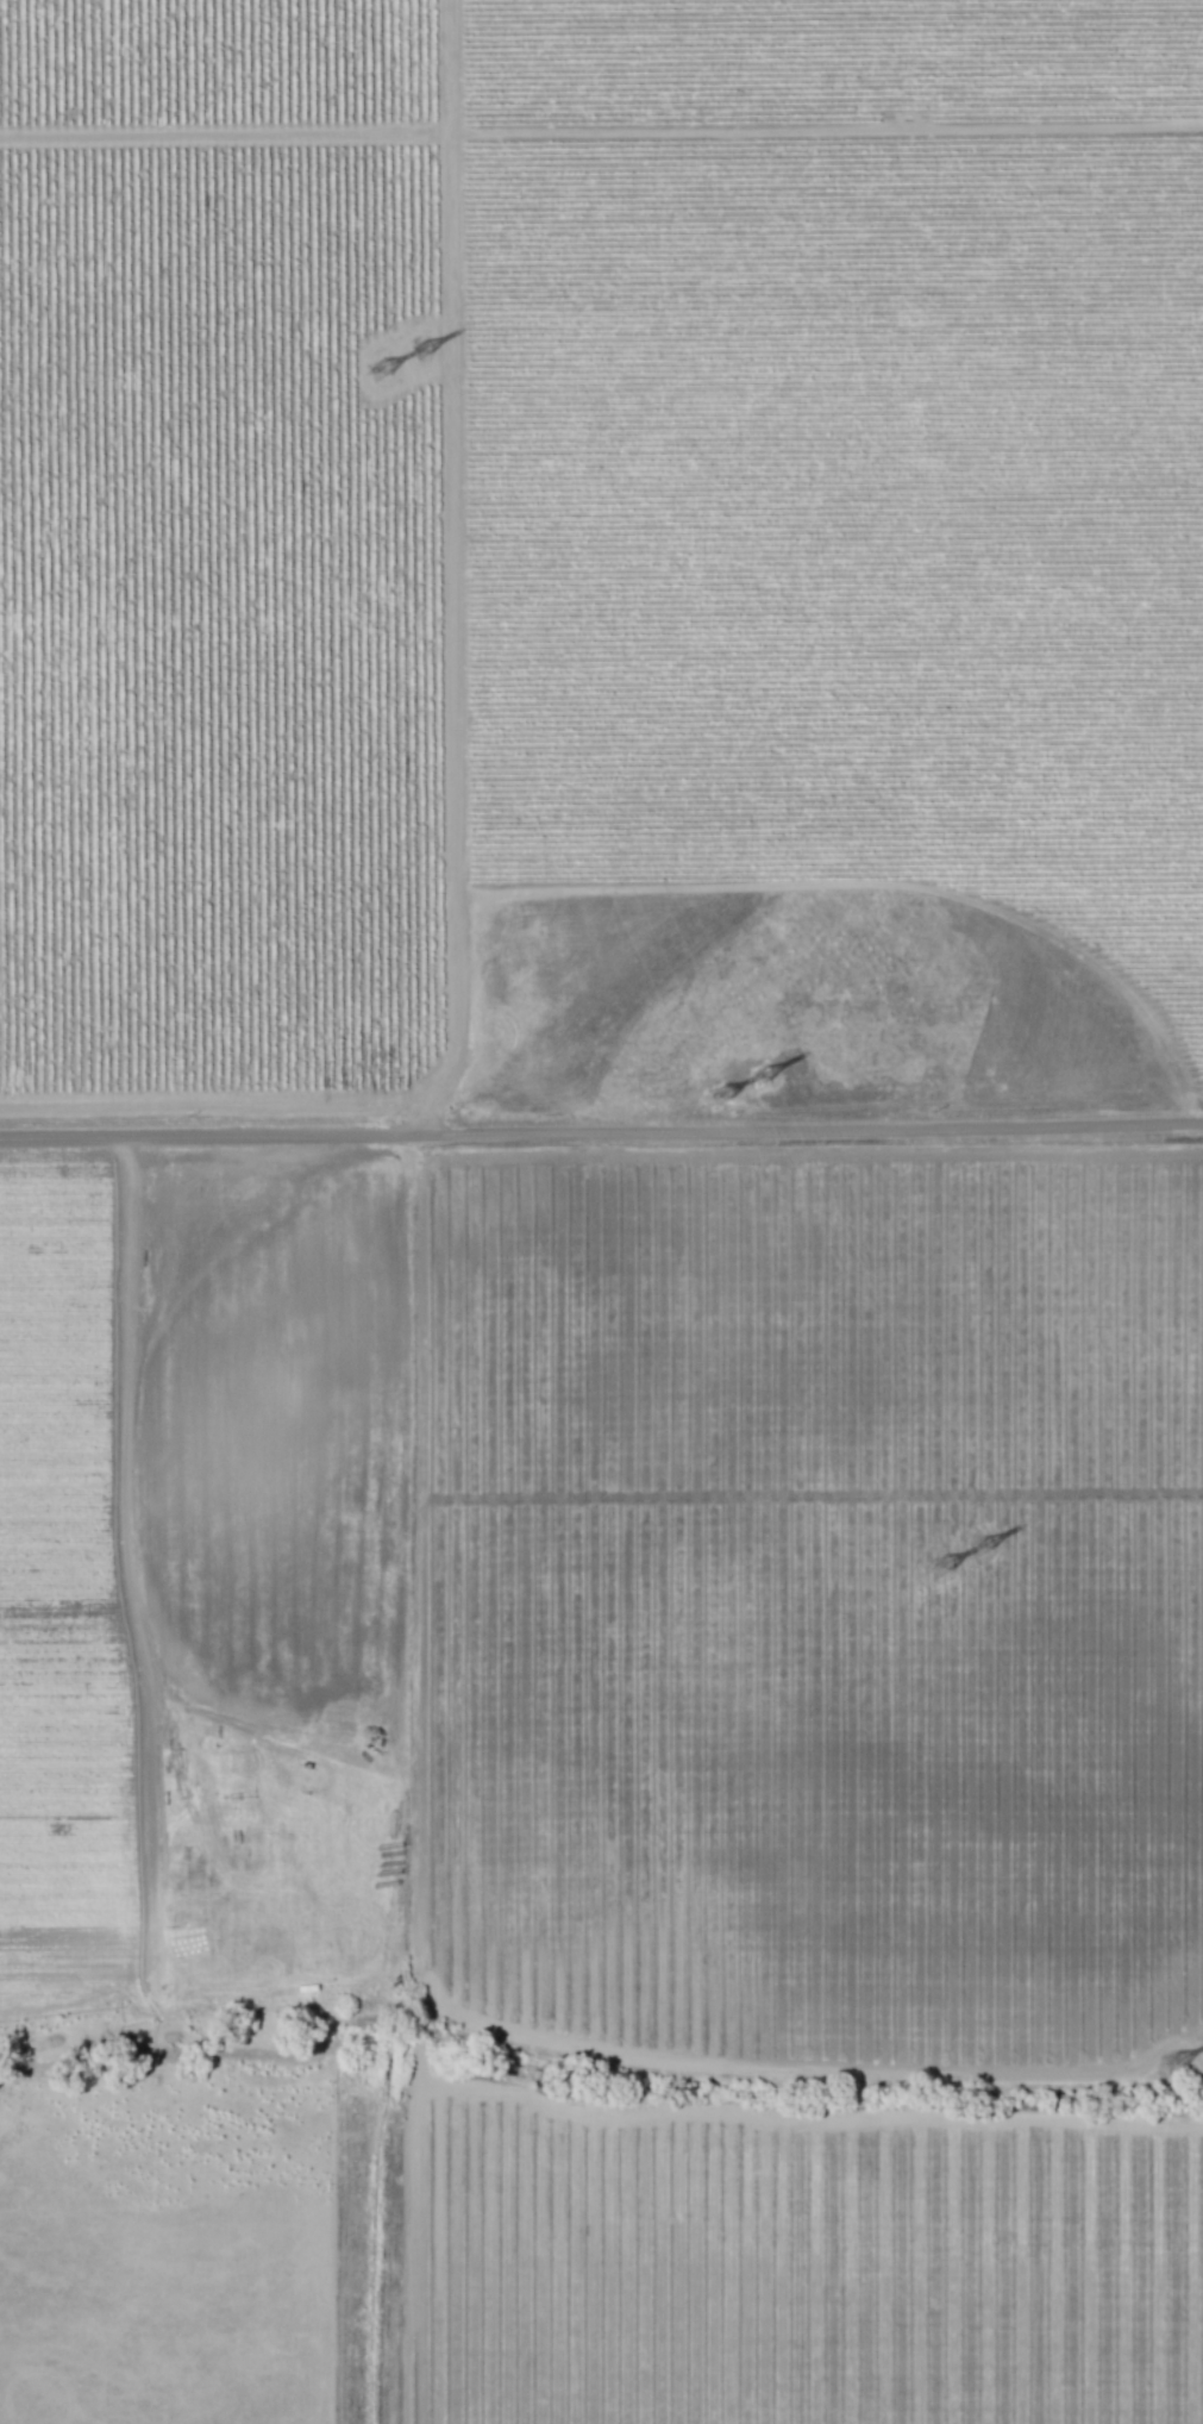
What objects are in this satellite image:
power tower: (415, 352)
power tower: (375, 371)
road: (453, 573)
power tower: (757, 1076)
power tower: (715, 1097)
road: (601, 1141)
power tower: (979, 1544)
power tower: (935, 1564)
power tower: (1168, 2063)

